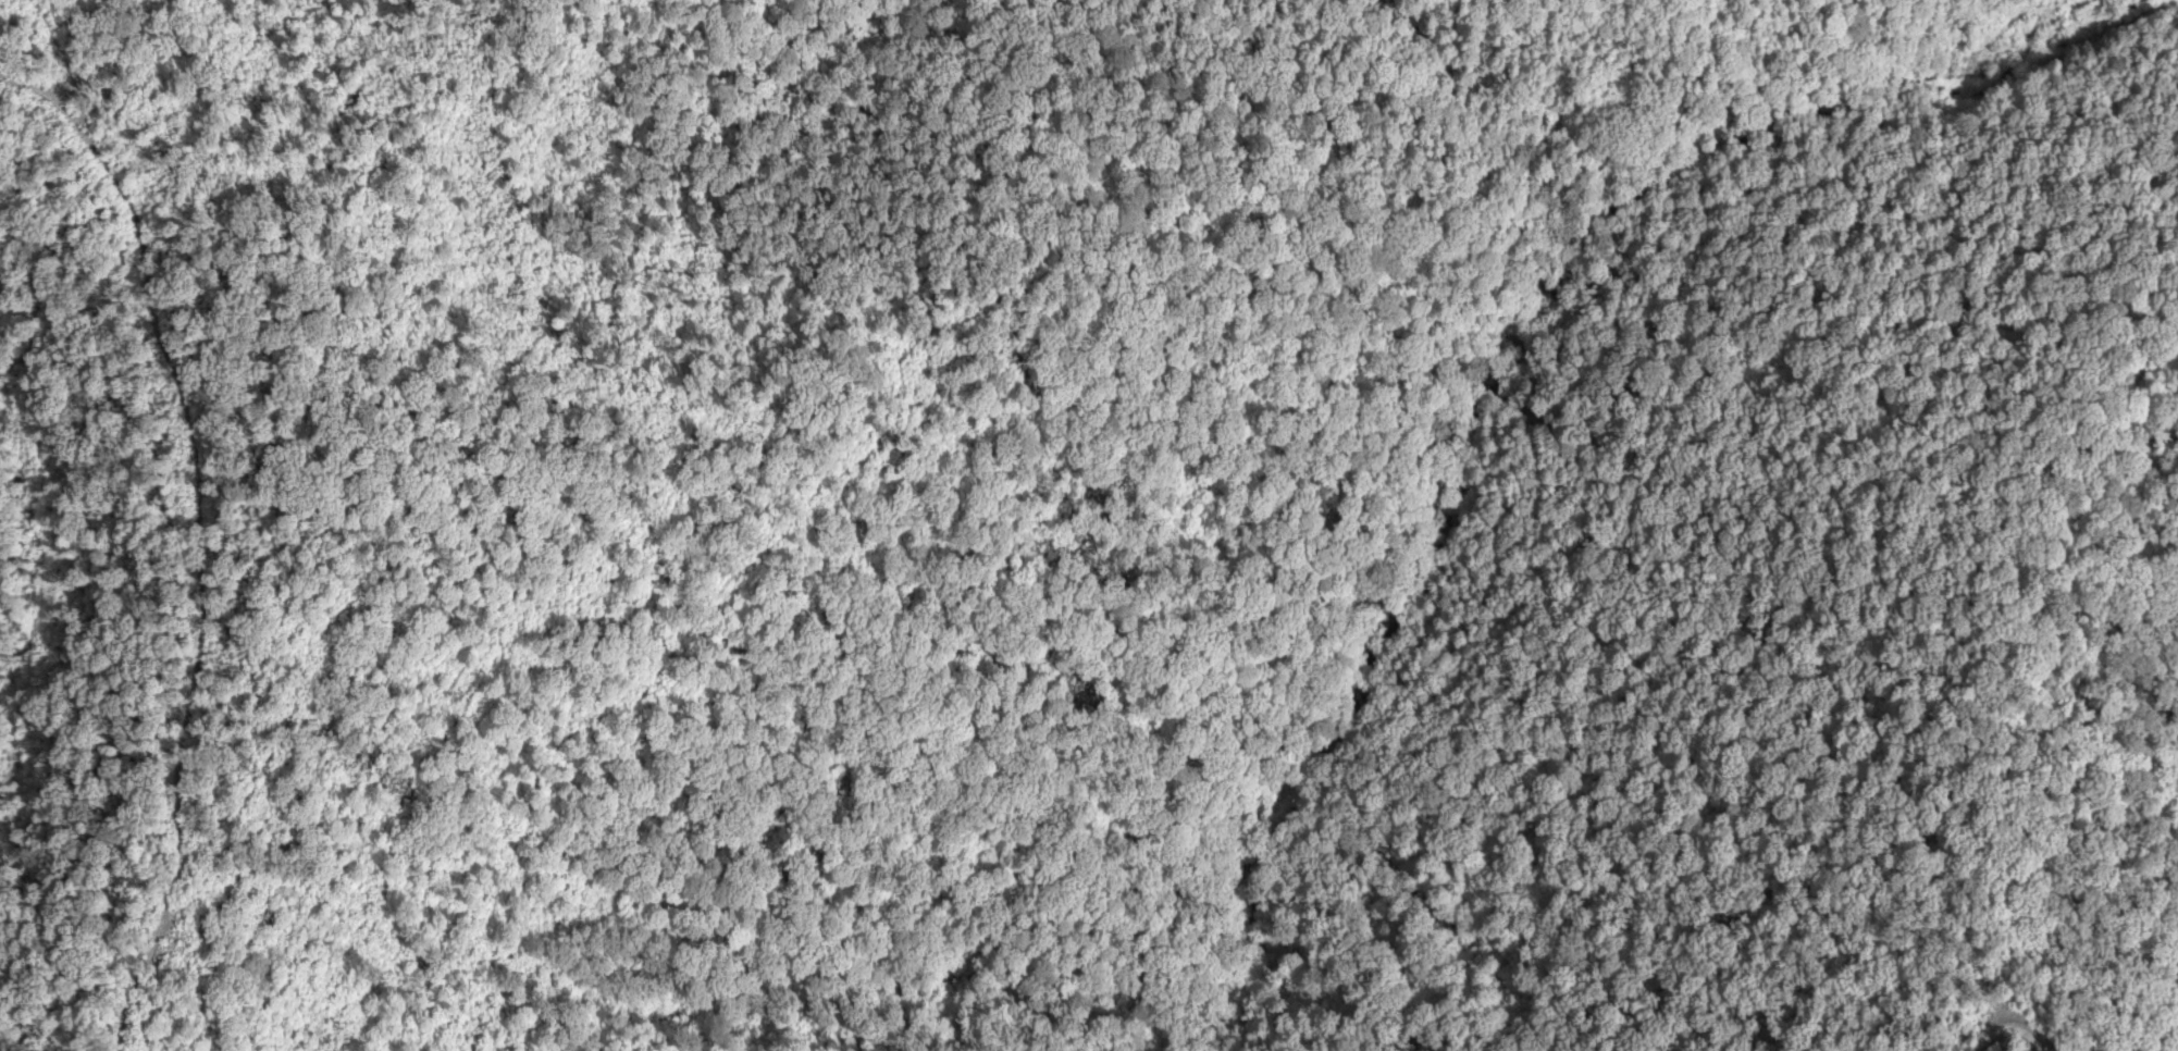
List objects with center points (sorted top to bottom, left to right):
building: (2096, 1)
road: (2144, 11)

